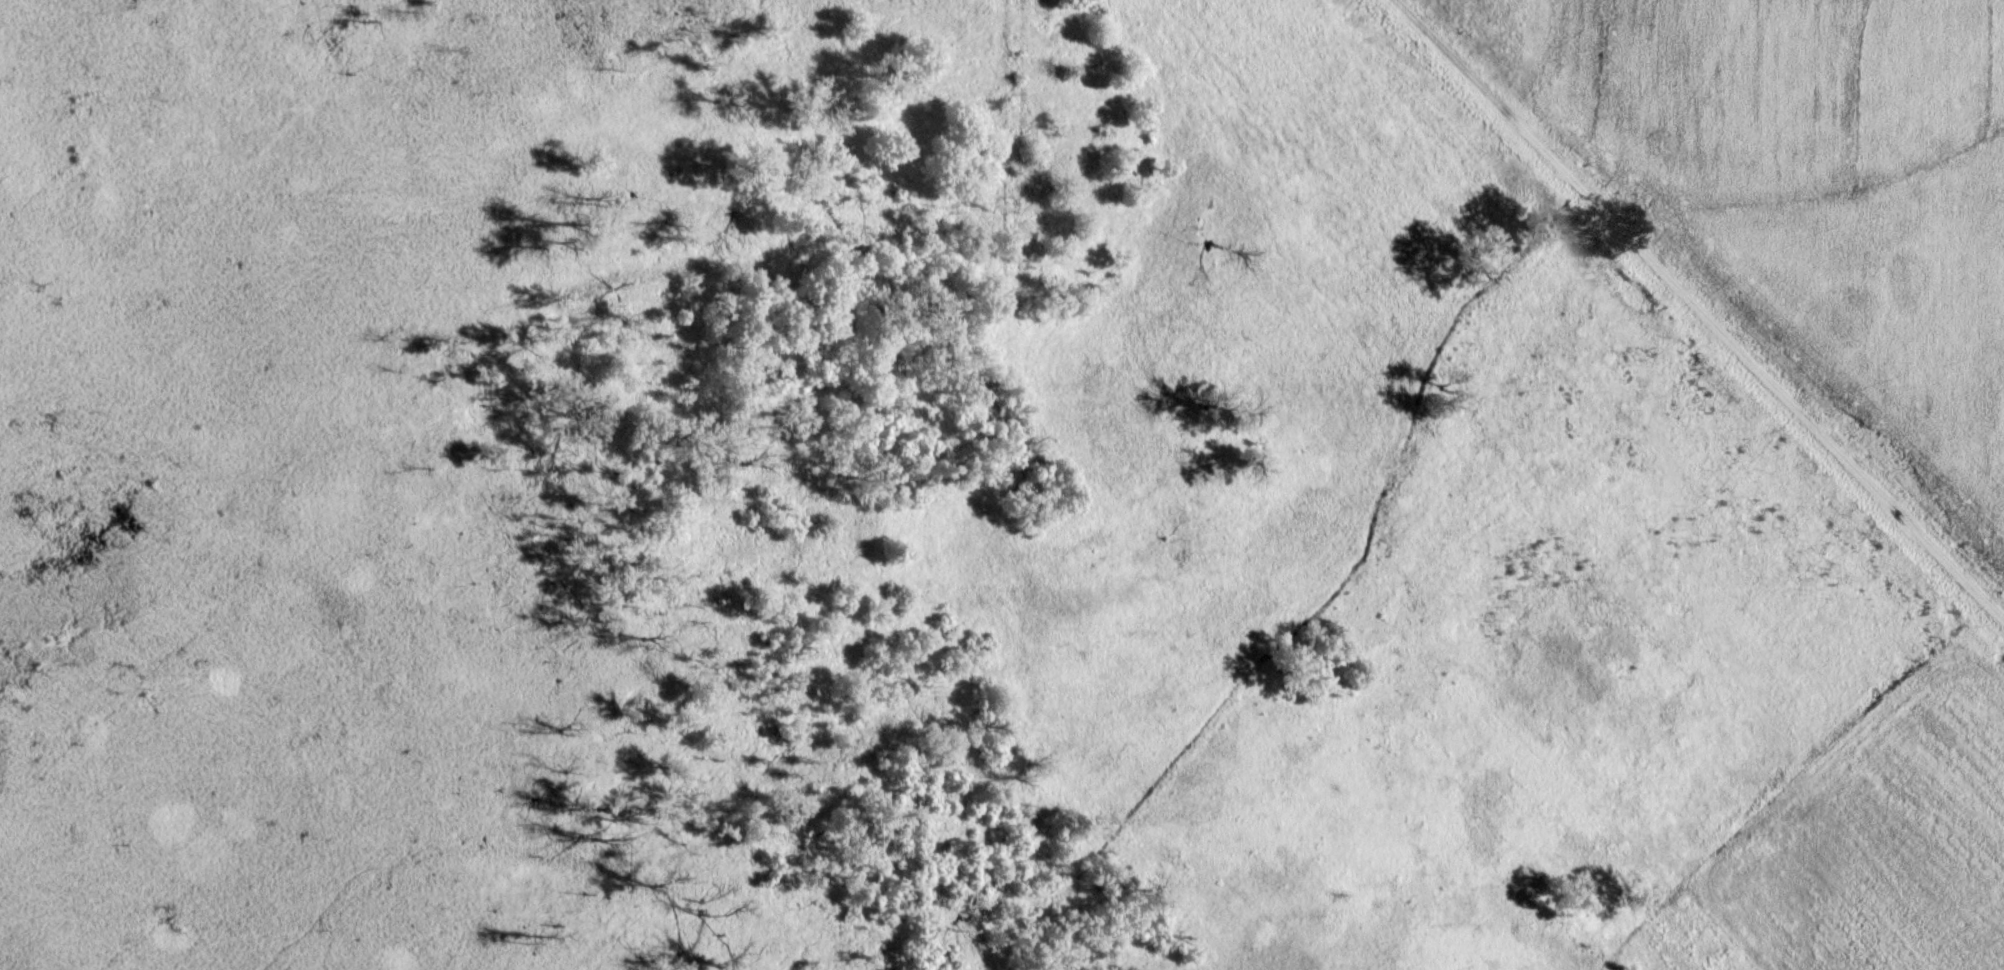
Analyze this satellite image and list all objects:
road: (1697, 313)

